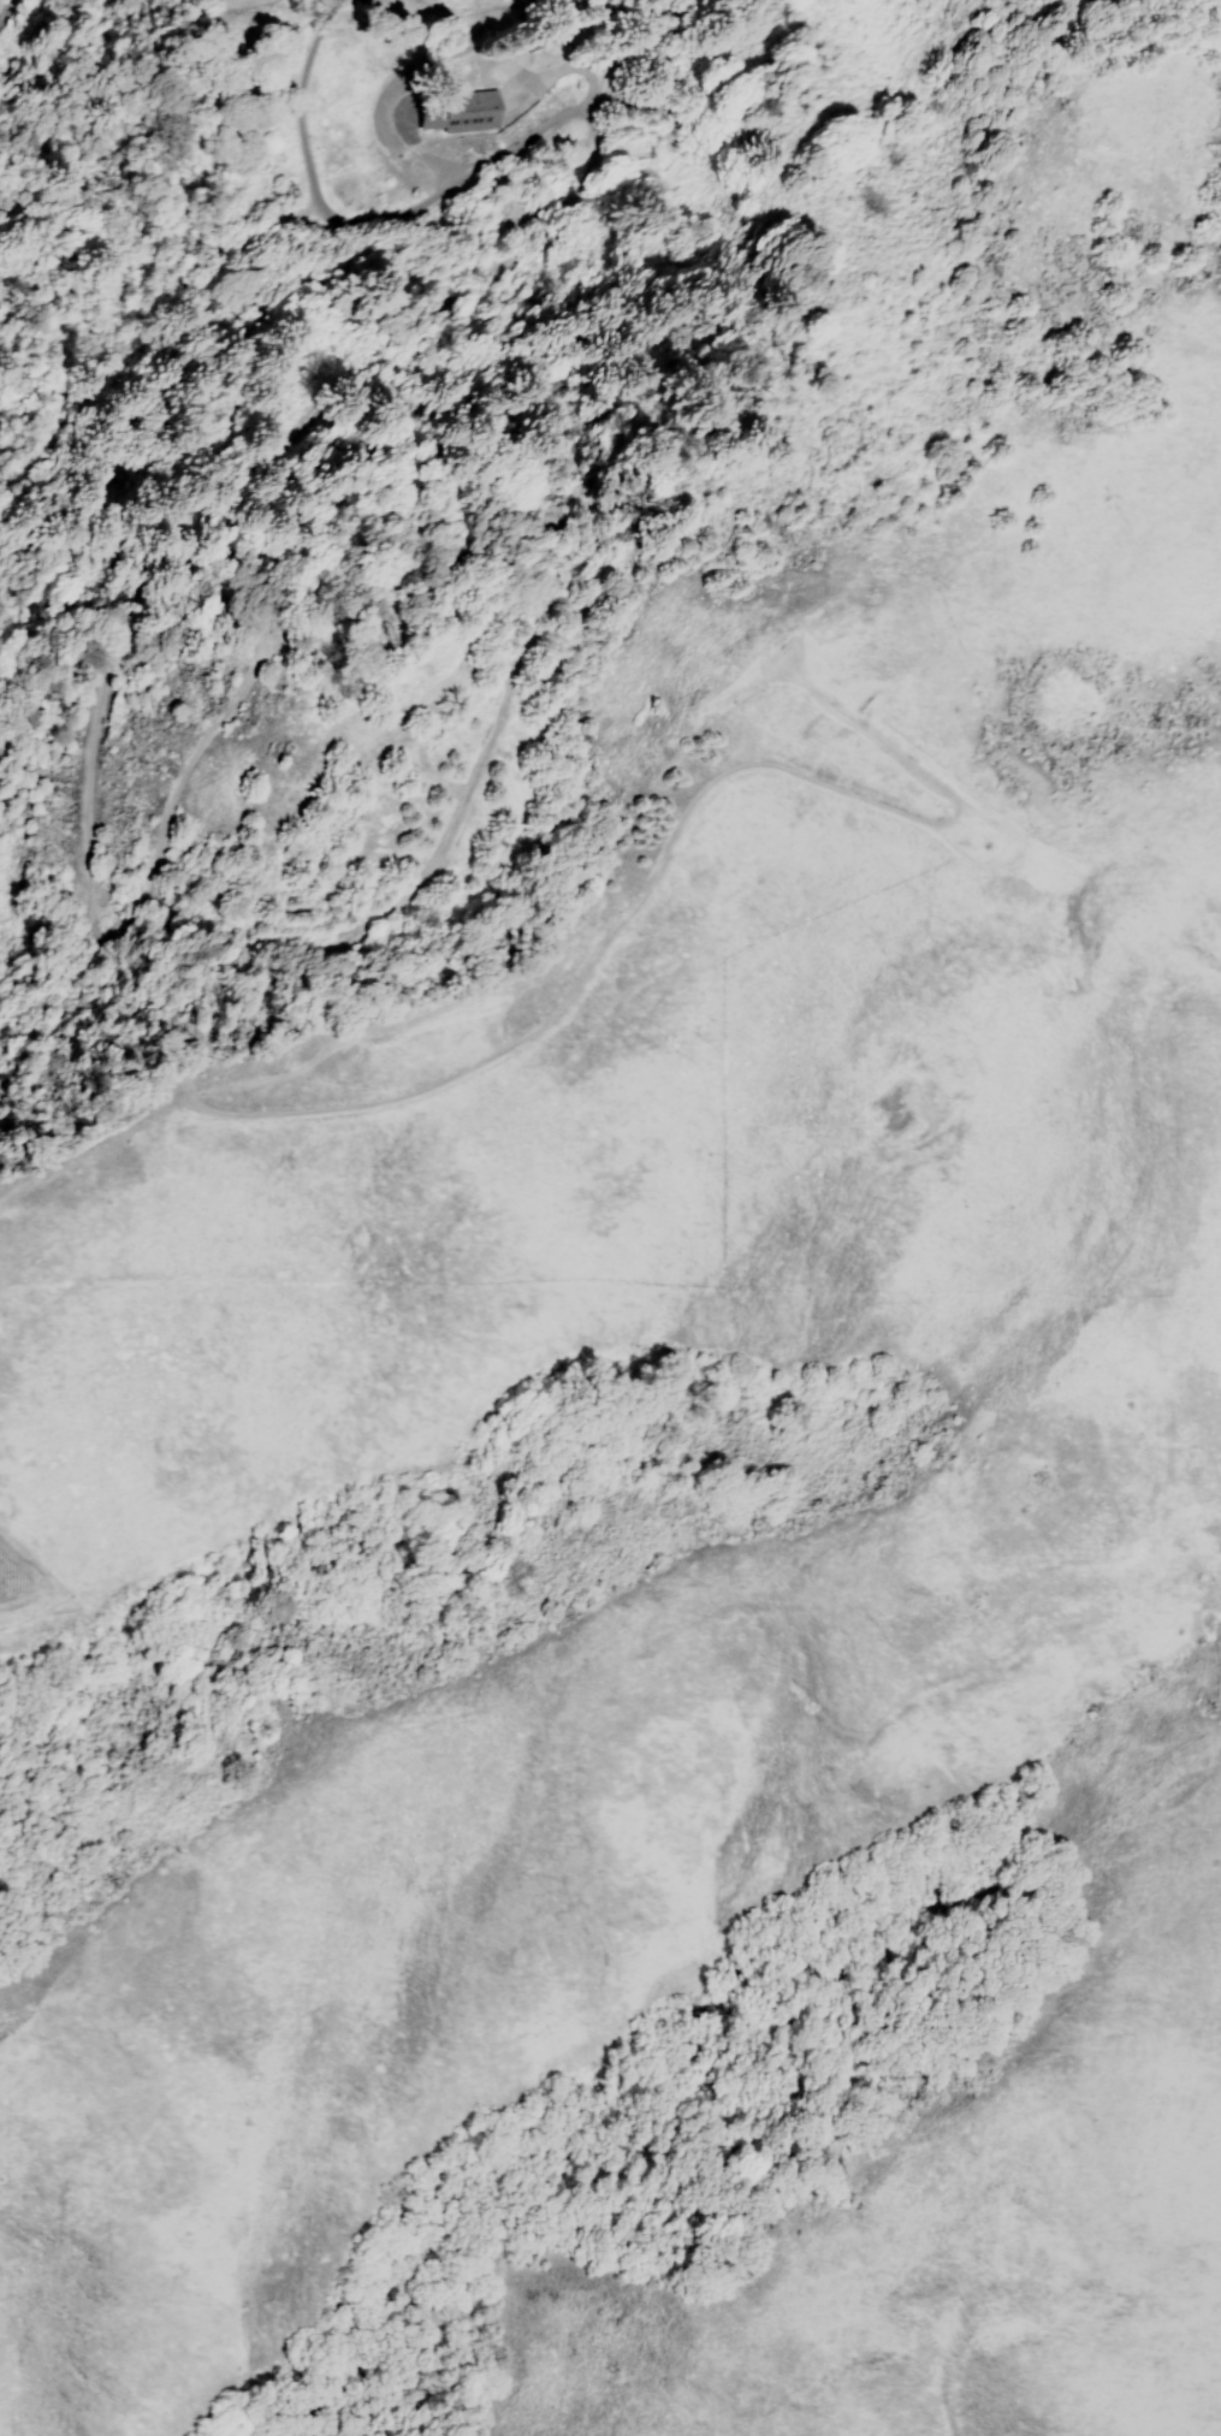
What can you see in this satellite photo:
road: (7, 8)

